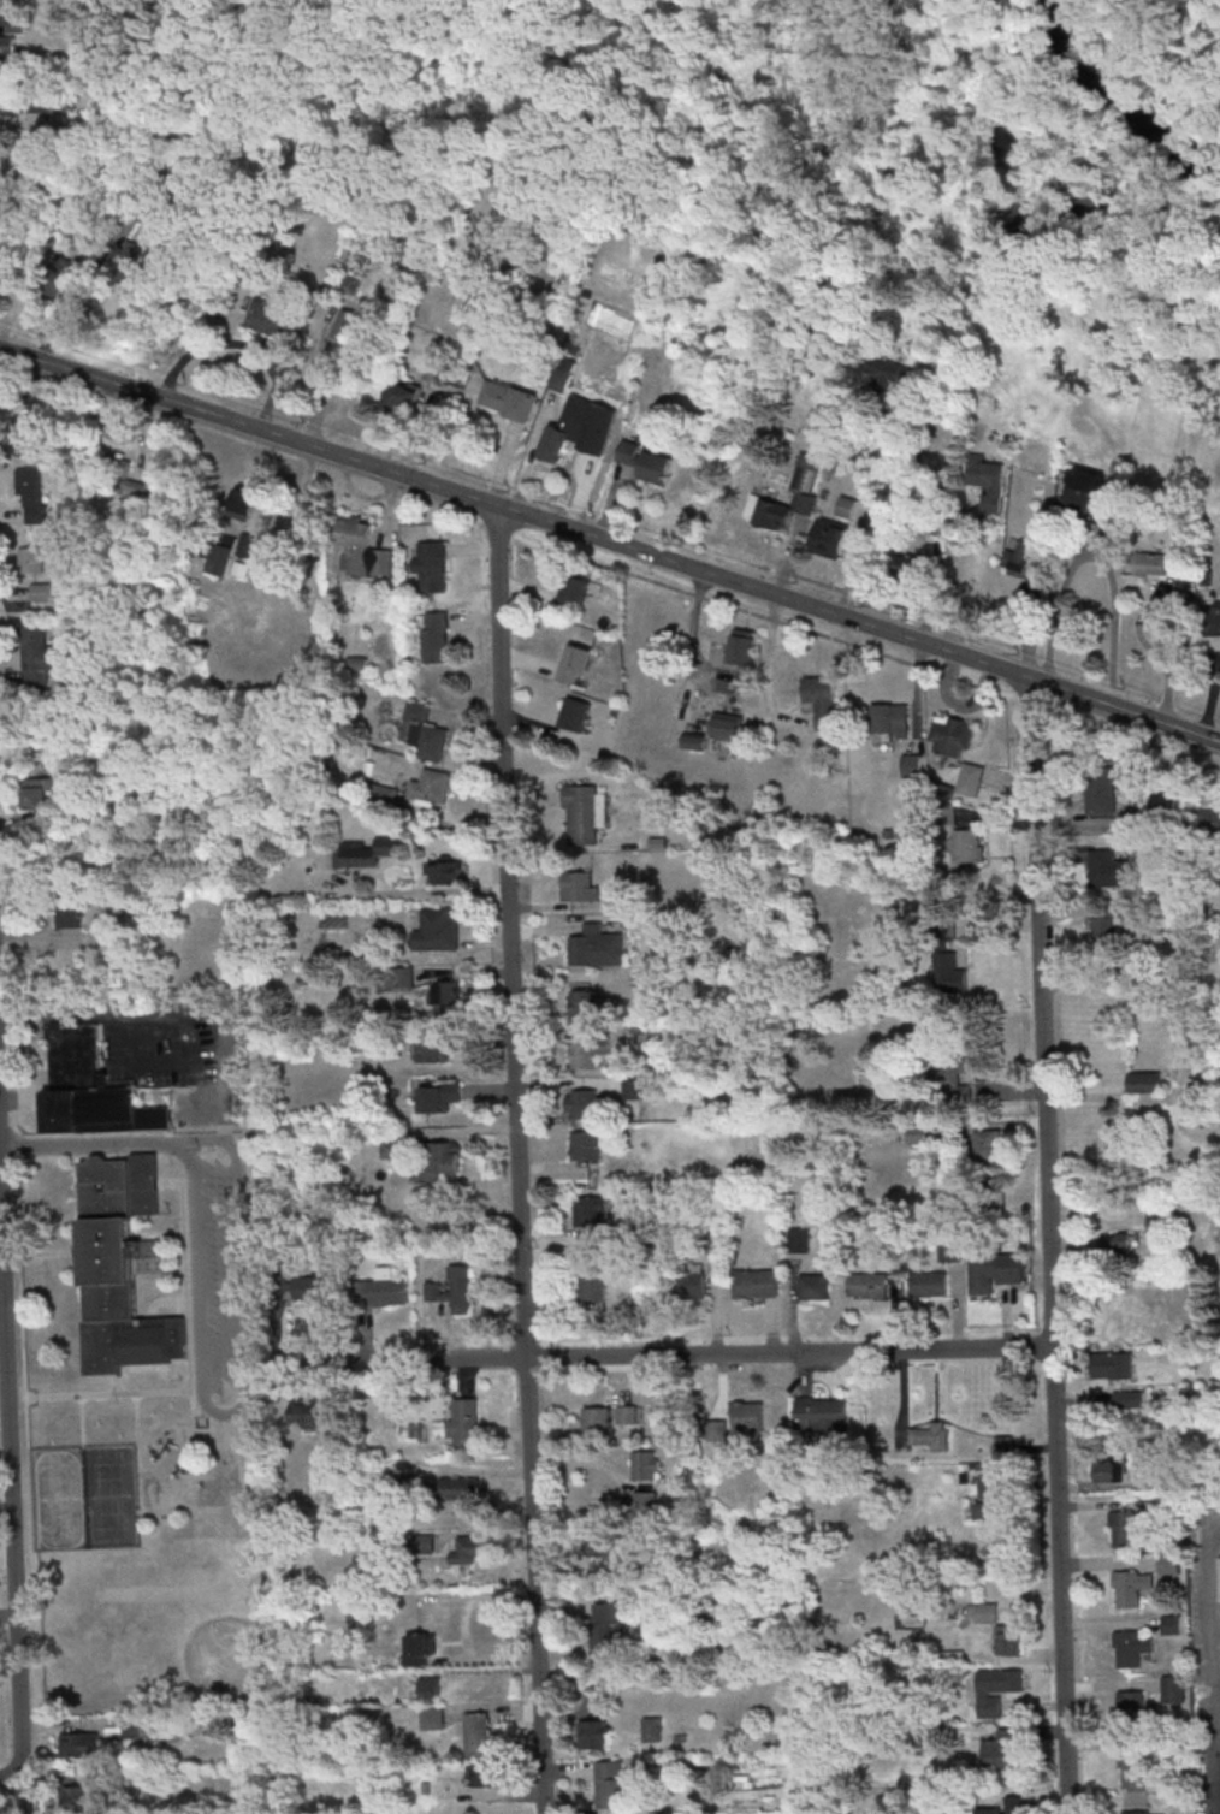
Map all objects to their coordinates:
building: (14, 22)
building: (6, 47)
river: (1091, 63)
building: (36, 102)
river: (1180, 153)
building: (22, 165)
building: (132, 261)
building: (53, 277)
road: (66, 304)
building: (274, 321)
building: (347, 325)
building: (563, 373)
building: (895, 374)
building: (508, 399)
building: (399, 401)
building: (562, 433)
building: (26, 434)
building: (656, 468)
building: (809, 475)
building: (122, 476)
building: (988, 482)
building: (1082, 491)
building: (34, 494)
building: (242, 502)
building: (846, 506)
road: (869, 521)
building: (829, 538)
road: (610, 541)
building: (245, 545)
building: (361, 549)
road: (1094, 556)
building: (30, 559)
building: (220, 559)
building: (1021, 562)
building: (1153, 563)
building: (428, 564)
building: (907, 565)
building: (40, 591)
building: (573, 592)
building: (1071, 613)
building: (1213, 617)
building: (434, 636)
building: (741, 646)
building: (36, 653)
building: (574, 663)
building: (822, 699)
building: (574, 713)
building: (889, 721)
building: (726, 725)
building: (425, 731)
building: (950, 735)
building: (970, 778)
building: (431, 787)
building: (37, 792)
building: (1100, 792)
building: (385, 794)
building: (1167, 801)
building: (83, 807)
building: (579, 813)
building: (1209, 819)
building: (967, 846)
building: (367, 849)
building: (1107, 869)
building: (445, 871)
building: (574, 884)
building: (69, 914)
building: (1108, 925)
building: (432, 929)
building: (591, 945)
building: (946, 959)
building: (397, 977)
building: (445, 998)
building: (579, 1002)
building: (641, 1032)
building: (434, 1044)
building: (579, 1051)
building: (957, 1078)
building: (1144, 1081)
building: (91, 1089)
building: (431, 1096)
building: (1191, 1099)
building: (580, 1102)
building: (581, 1143)
road: (87, 1144)
building: (989, 1145)
building: (391, 1146)
building: (444, 1157)
road: (519, 1160)
building: (586, 1209)
road: (1, 1232)
building: (795, 1238)
building: (1115, 1243)
road: (1047, 1246)
building: (946, 1247)
building: (990, 1269)
building: (124, 1271)
parking lot: (209, 1276)
building: (752, 1281)
building: (693, 1282)
building: (864, 1282)
building: (924, 1282)
building: (587, 1284)
building: (811, 1285)
building: (309, 1287)
building: (383, 1288)
building: (454, 1288)
road: (667, 1351)
building: (1112, 1365)
building: (1127, 1400)
road: (242, 1405)
building: (303, 1412)
building: (626, 1413)
building: (747, 1415)
building: (819, 1415)
building: (592, 1419)
building: (463, 1423)
park: (150, 1424)
building: (717, 1431)
building: (926, 1434)
building: (646, 1465)
building: (1114, 1470)
building: (458, 1488)
road: (12, 1494)
park: (109, 1496)
building: (989, 1496)
park: (59, 1499)
building: (645, 1502)
building: (1162, 1502)
building: (1123, 1525)
building: (424, 1542)
building: (600, 1546)
building: (472, 1549)
building: (1166, 1563)
building: (1127, 1585)
road: (1216, 1600)
building: (985, 1612)
building: (1168, 1623)
building: (609, 1628)
park: (197, 1630)
building: (1009, 1640)
building: (1127, 1646)
building: (421, 1650)
building: (1168, 1684)
building: (425, 1690)
building: (995, 1690)
building: (1129, 1707)
building: (652, 1729)
building: (478, 1733)
building: (593, 1733)
building: (81, 1744)
building: (1001, 1750)
building: (1127, 1767)
building: (487, 1774)
road: (11, 1777)
building: (610, 1784)
building: (77, 1797)
building: (1005, 1807)
building: (1131, 1812)

